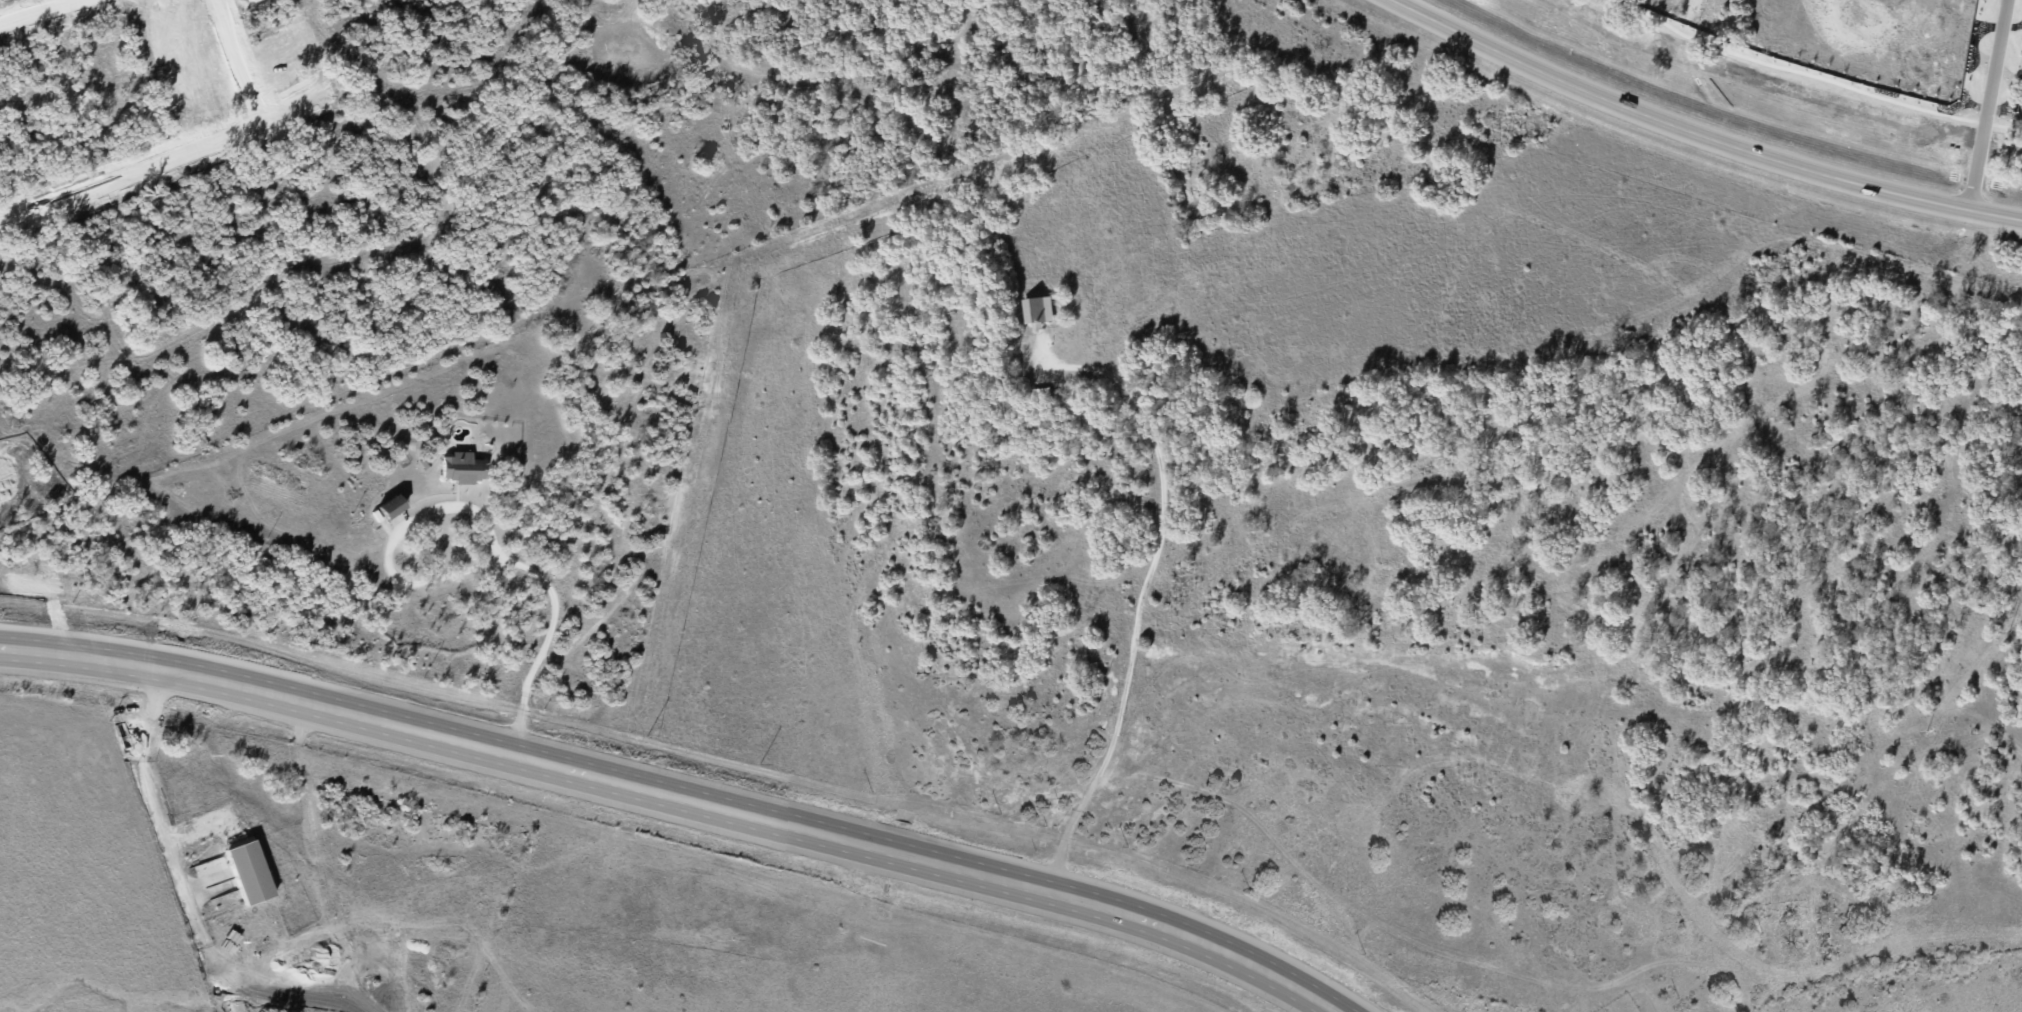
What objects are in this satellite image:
road: (35, 11)
road: (241, 60)
road: (1989, 103)
road: (1702, 132)
road: (219, 144)
road: (438, 158)
building: (1037, 310)
road: (245, 342)
building: (462, 467)
road: (2008, 495)
building: (391, 506)
road: (1955, 516)
road: (1141, 596)
road: (554, 599)
road: (1517, 603)
road: (891, 649)
road: (1741, 670)
road: (1892, 684)
road: (1955, 755)
road: (147, 789)
road: (678, 797)
building: (248, 869)

